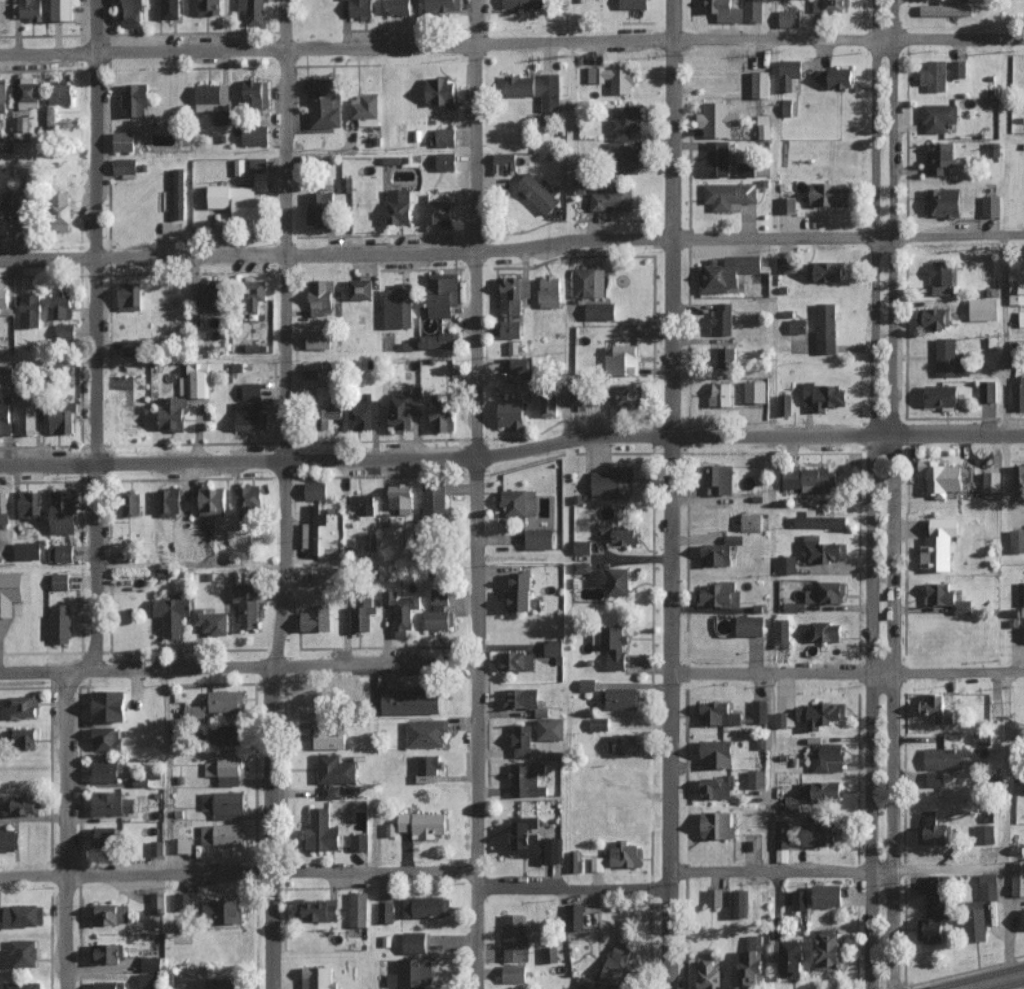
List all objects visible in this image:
building: (523, 3)
building: (634, 4)
building: (442, 5)
building: (400, 6)
building: (830, 6)
building: (211, 7)
building: (361, 8)
building: (29, 9)
building: (64, 9)
building: (168, 9)
building: (721, 9)
building: (948, 9)
building: (253, 10)
building: (753, 11)
building: (130, 13)
building: (790, 18)
road: (511, 48)
building: (958, 68)
building: (789, 73)
building: (935, 75)
building: (614, 77)
building: (836, 77)
building: (761, 84)
building: (537, 88)
building: (442, 91)
building: (28, 92)
building: (61, 92)
building: (254, 92)
building: (3, 98)
building: (136, 99)
building: (211, 101)
building: (324, 102)
building: (787, 107)
building: (365, 109)
building: (51, 116)
building: (939, 116)
building: (718, 118)
building: (626, 122)
building: (18, 123)
building: (764, 126)
building: (256, 135)
building: (446, 136)
building: (125, 141)
building: (941, 156)
building: (625, 157)
building: (717, 158)
building: (446, 161)
building: (506, 162)
building: (125, 165)
building: (259, 169)
building: (746, 169)
building: (538, 192)
building: (178, 194)
building: (729, 194)
building: (827, 194)
building: (613, 198)
building: (237, 200)
building: (945, 201)
building: (788, 204)
building: (991, 205)
building: (399, 206)
building: (321, 207)
building: (64, 210)
building: (440, 212)
building: (18, 213)
building: (3, 221)
road: (512, 246)
building: (784, 264)
building: (827, 271)
building: (726, 272)
building: (589, 282)
building: (361, 289)
building: (550, 291)
building: (1017, 291)
building: (255, 294)
building: (443, 294)
building: (510, 294)
building: (4, 295)
building: (211, 295)
building: (130, 296)
building: (61, 305)
building: (399, 306)
building: (984, 309)
building: (31, 310)
building: (600, 311)
building: (936, 318)
building: (1021, 318)
building: (723, 319)
building: (798, 326)
building: (826, 327)
building: (511, 329)
building: (65, 331)
road: (95, 335)
road: (1003, 335)
building: (319, 339)
building: (438, 340)
building: (133, 347)
building: (513, 347)
building: (725, 356)
building: (950, 358)
building: (622, 359)
building: (520, 365)
building: (311, 374)
building: (199, 378)
building: (252, 390)
building: (987, 390)
building: (1018, 392)
building: (722, 394)
building: (630, 395)
building: (943, 395)
building: (587, 396)
building: (825, 396)
building: (549, 401)
building: (784, 404)
building: (404, 408)
building: (173, 413)
building: (512, 413)
building: (364, 414)
building: (5, 415)
building: (330, 415)
building: (443, 415)
building: (27, 416)
building: (251, 416)
building: (59, 419)
road: (511, 452)
building: (942, 478)
building: (720, 479)
building: (810, 479)
building: (1019, 480)
building: (993, 481)
building: (613, 482)
building: (316, 490)
road: (283, 494)
road: (471, 494)
road: (670, 494)
road: (871, 494)
road: (890, 494)
building: (402, 497)
building: (214, 500)
building: (170, 501)
building: (434, 501)
building: (520, 502)
building: (30, 503)
building: (362, 503)
building: (249, 505)
building: (133, 506)
building: (64, 511)
building: (3, 512)
building: (820, 520)
building: (313, 529)
building: (619, 534)
building: (539, 538)
building: (1016, 540)
building: (371, 542)
building: (940, 544)
building: (582, 547)
building: (824, 549)
building: (27, 550)
building: (719, 551)
building: (61, 553)
building: (786, 564)
building: (612, 580)
building: (60, 581)
building: (10, 591)
building: (521, 592)
building: (827, 592)
building: (719, 595)
building: (947, 597)
building: (248, 604)
building: (794, 606)
building: (401, 611)
building: (439, 611)
building: (361, 618)
building: (316, 619)
building: (210, 620)
building: (61, 623)
building: (751, 625)
building: (823, 631)
building: (781, 633)
building: (613, 646)
building: (554, 647)
building: (517, 661)
road: (237, 667)
road: (846, 671)
building: (587, 685)
building: (522, 698)
building: (621, 698)
building: (411, 702)
building: (217, 703)
building: (318, 704)
building: (110, 705)
building: (22, 706)
building: (937, 709)
building: (759, 711)
building: (718, 713)
building: (821, 714)
building: (785, 719)
building: (599, 723)
building: (551, 728)
building: (427, 733)
building: (226, 735)
building: (330, 735)
building: (24, 737)
building: (107, 738)
building: (523, 739)
building: (982, 739)
building: (625, 744)
building: (719, 754)
building: (828, 757)
building: (943, 759)
building: (429, 768)
building: (336, 769)
building: (106, 770)
road: (166, 770)
building: (225, 770)
road: (769, 771)
building: (528, 779)
building: (757, 779)
building: (936, 779)
building: (718, 787)
building: (332, 791)
building: (822, 791)
building: (113, 803)
building: (791, 803)
building: (21, 804)
building: (225, 804)
road: (1004, 821)
building: (424, 823)
building: (717, 825)
road: (64, 830)
building: (935, 830)
building: (322, 831)
building: (820, 831)
building: (985, 833)
building: (223, 834)
building: (106, 836)
building: (10, 840)
building: (534, 840)
building: (782, 841)
building: (360, 842)
building: (181, 845)
building: (158, 847)
building: (626, 854)
building: (574, 861)
building: (596, 863)
road: (945, 869)
road: (450, 870)
building: (1018, 878)
building: (828, 895)
building: (714, 897)
building: (799, 900)
building: (157, 902)
building: (740, 902)
building: (182, 904)
building: (425, 906)
building: (981, 908)
building: (316, 909)
building: (358, 909)
building: (223, 911)
building: (385, 911)
building: (936, 911)
building: (112, 914)
building: (23, 915)
building: (575, 916)
building: (515, 938)
building: (415, 942)
building: (754, 942)
building: (828, 949)
building: (107, 953)
building: (19, 954)
building: (550, 954)
building: (793, 959)
building: (150, 963)
building: (751, 967)
building: (613, 971)
building: (416, 973)
building: (514, 973)
building: (709, 974)
building: (318, 978)
road: (984, 978)
building: (148, 980)
building: (223, 983)
building: (22, 985)
building: (110, 985)

